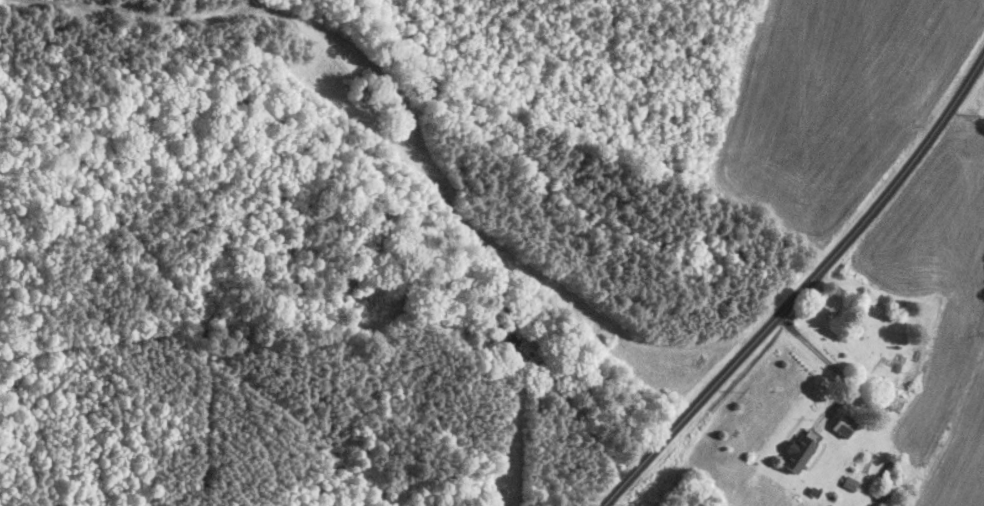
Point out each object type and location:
road: (803, 284)
road: (831, 362)
building: (803, 451)

